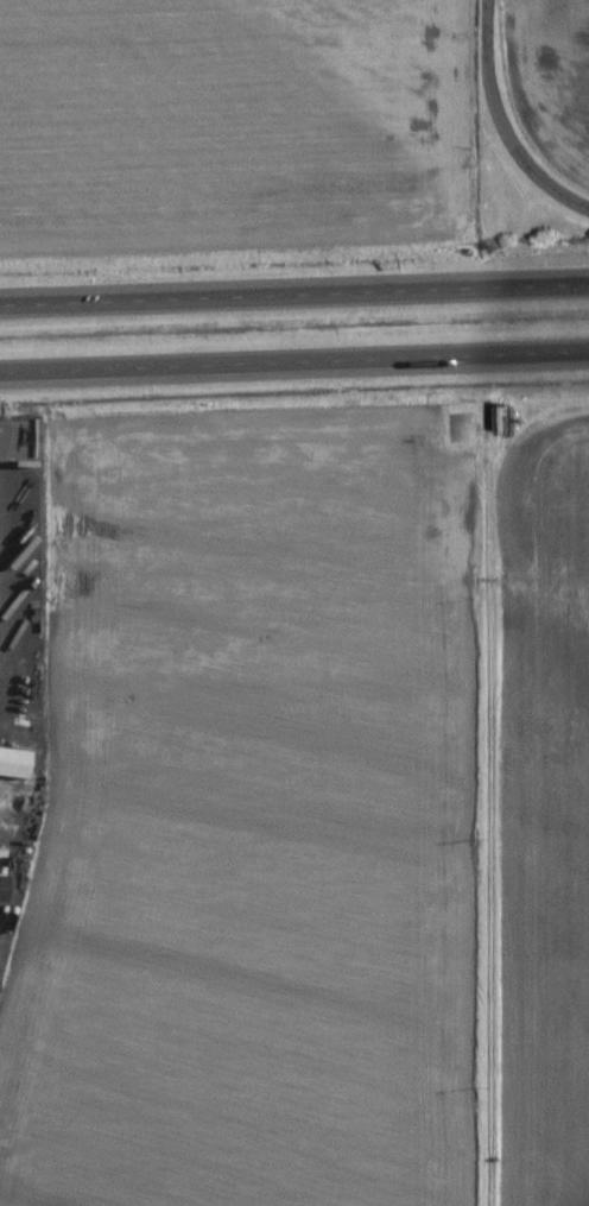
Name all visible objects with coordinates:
road: (482, 18)
road: (508, 137)
road: (294, 293)
road: (294, 371)
building: (8, 760)

